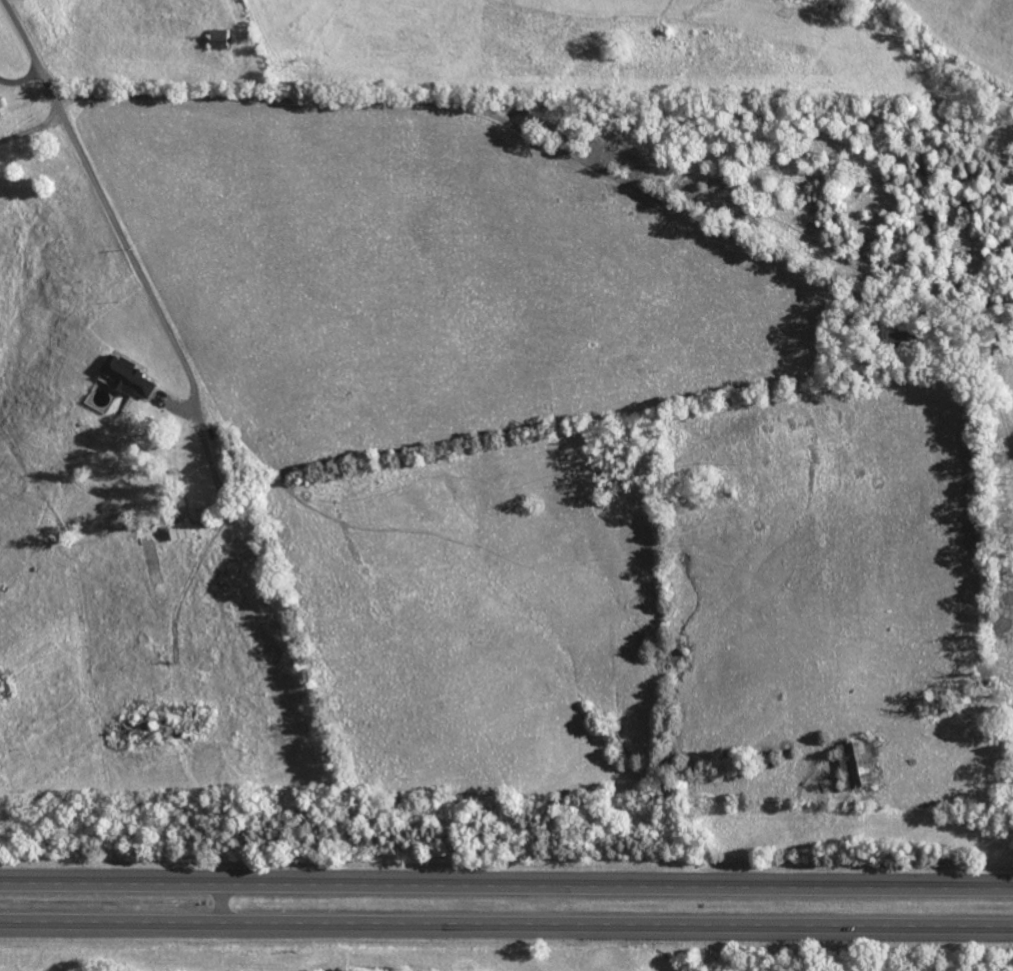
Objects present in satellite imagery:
building: (219, 40)
road: (425, 104)
building: (128, 376)
building: (861, 760)
road: (506, 883)
road: (506, 928)

